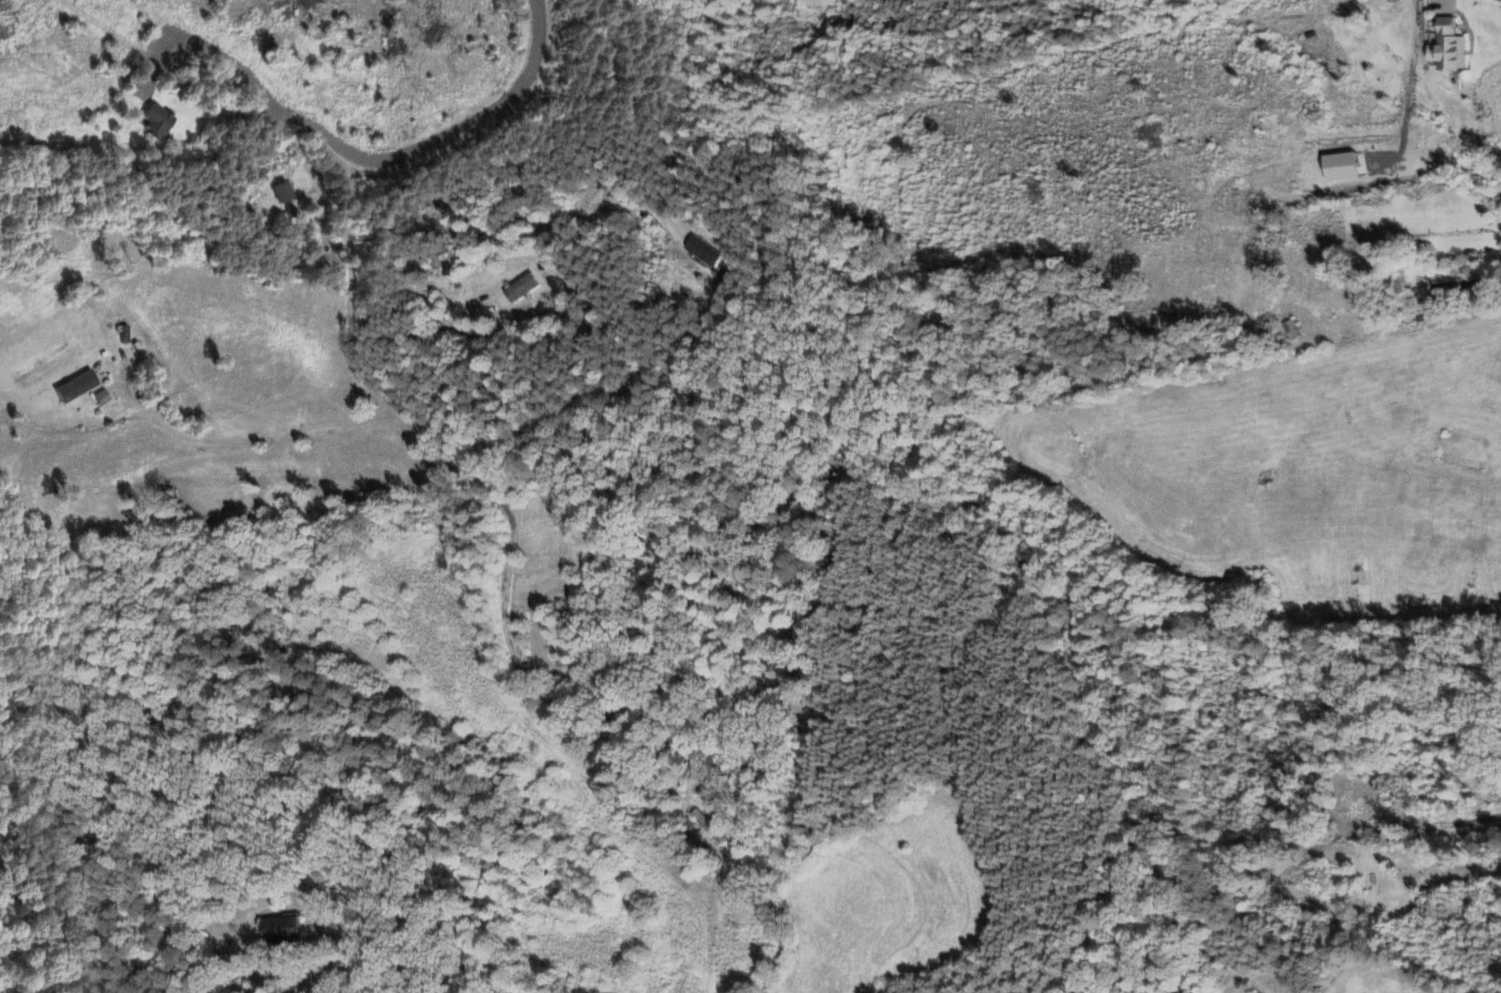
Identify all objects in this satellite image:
building: (1448, 48)
building: (156, 122)
road: (372, 163)
building: (1360, 164)
building: (1341, 168)
building: (284, 193)
building: (703, 253)
building: (521, 289)
building: (76, 388)
building: (103, 399)
road: (264, 437)
road: (509, 651)
building: (280, 930)

